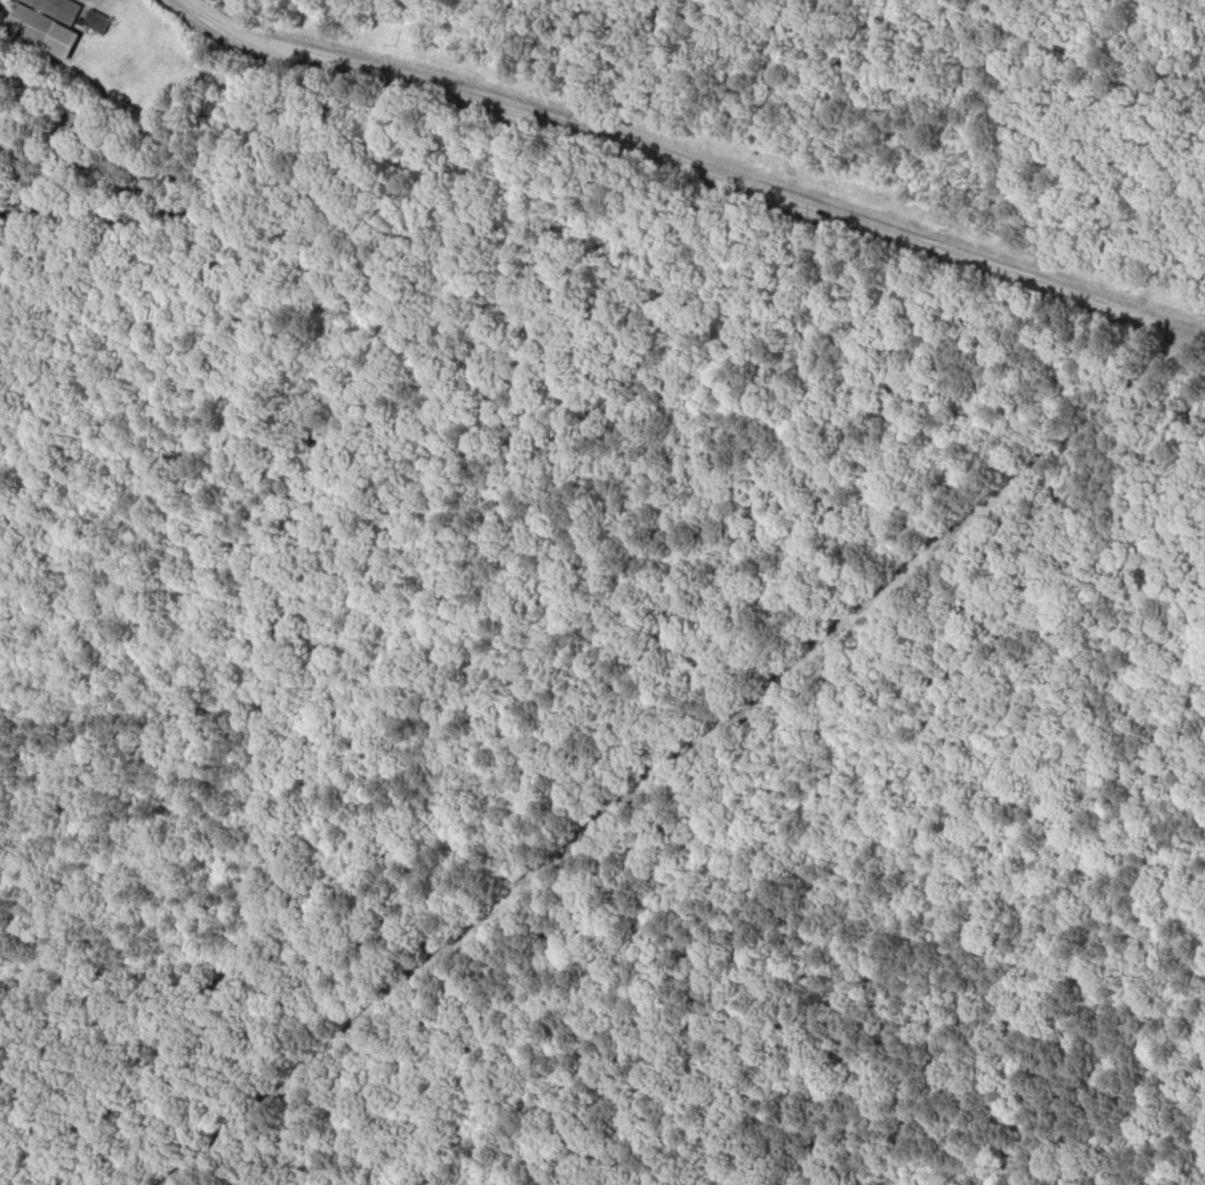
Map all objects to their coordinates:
building: (92, 19)
building: (42, 23)
road: (724, 162)

